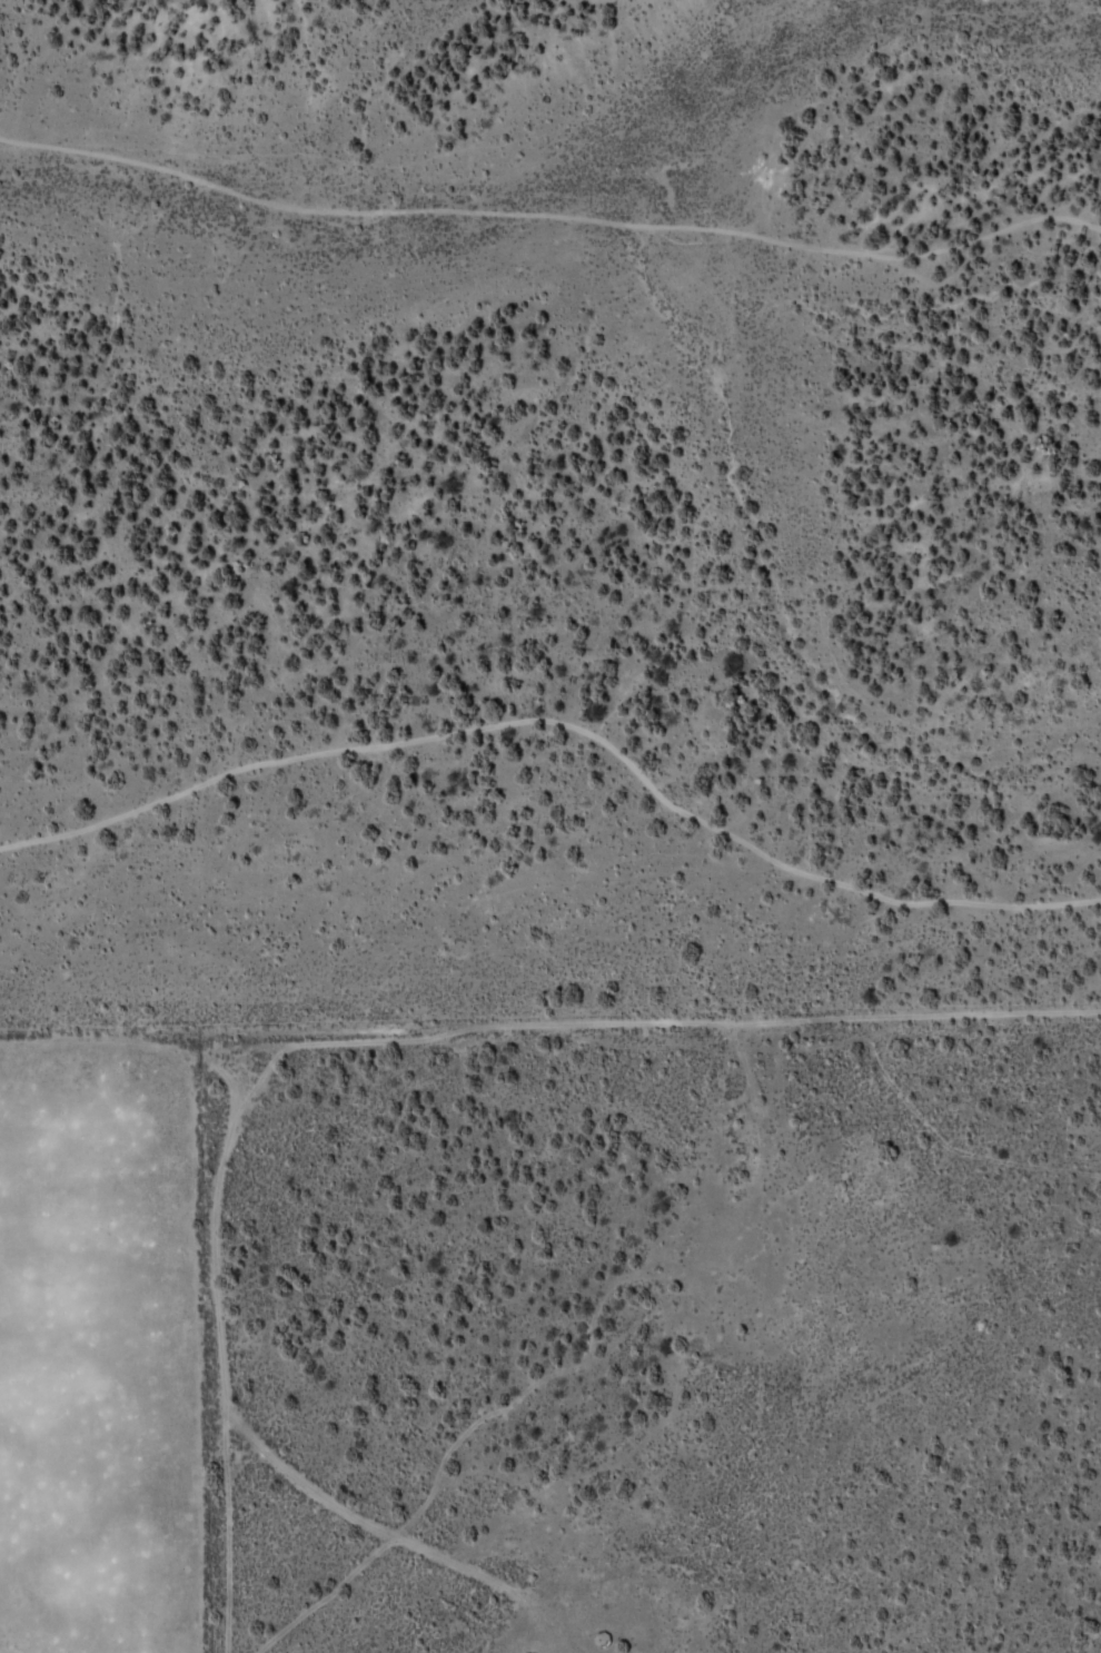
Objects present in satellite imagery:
road: (1080, 992)
road: (549, 1023)

